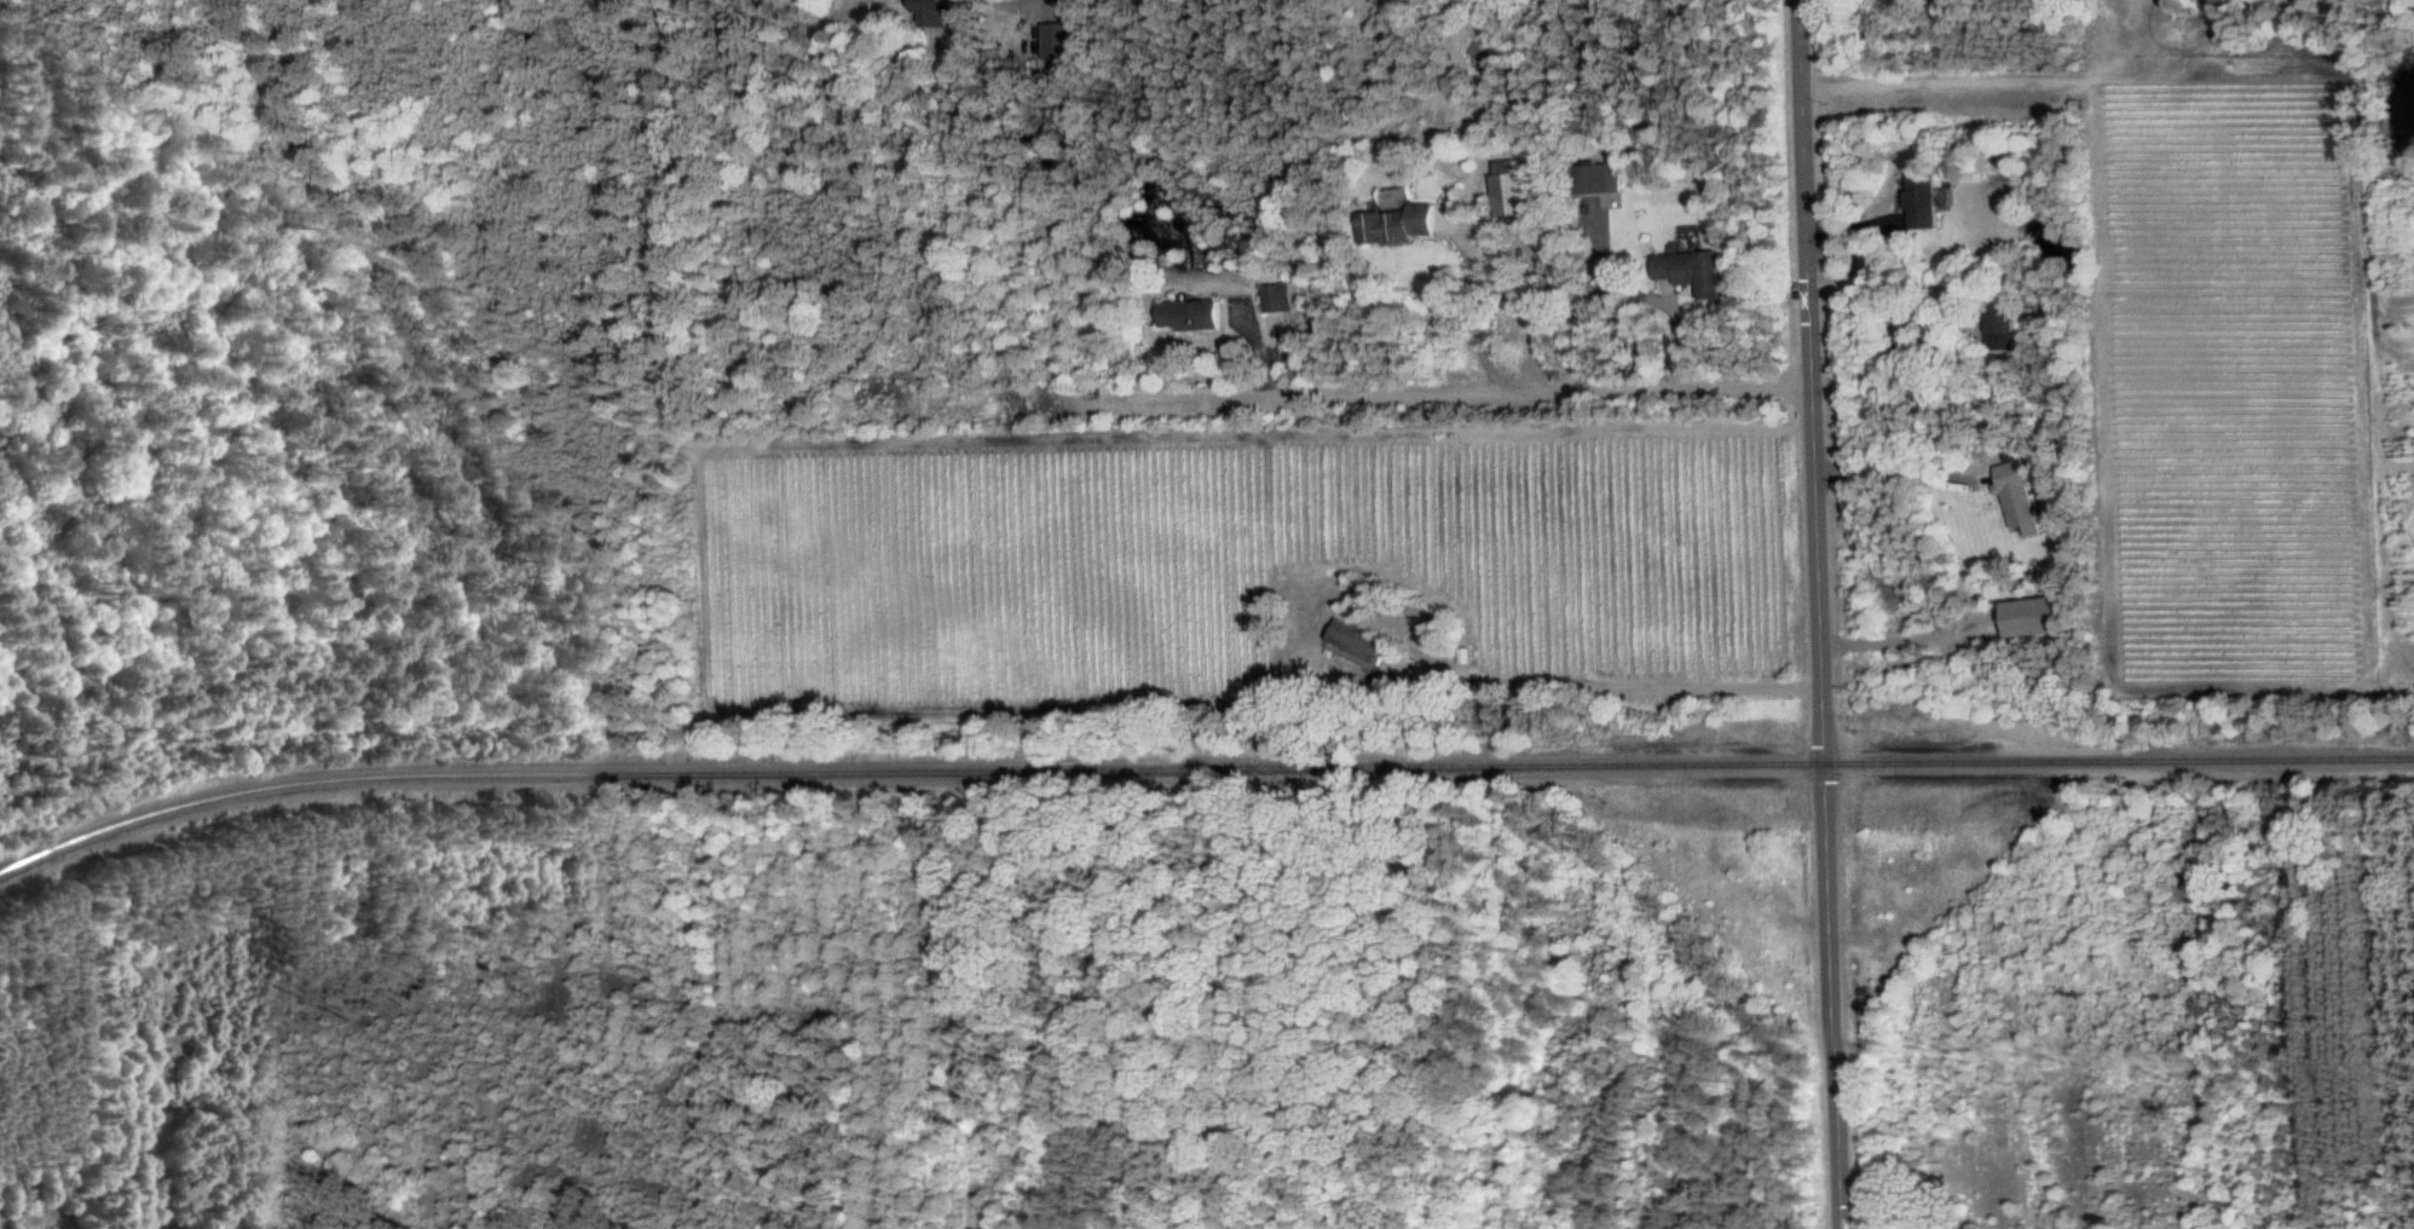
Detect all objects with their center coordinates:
building: (1899, 6)
road: (958, 7)
building: (930, 12)
building: (1055, 41)
road: (1991, 81)
building: (1595, 179)
building: (1508, 191)
building: (1394, 200)
building: (1917, 202)
building: (1397, 225)
road: (1494, 225)
building: (1688, 271)
building: (1277, 298)
building: (1189, 316)
building: (1996, 325)
road: (1328, 397)
road: (1899, 474)
building: (2014, 498)
road: (1817, 613)
building: (1357, 642)
road: (1640, 692)
railway: (1199, 768)

